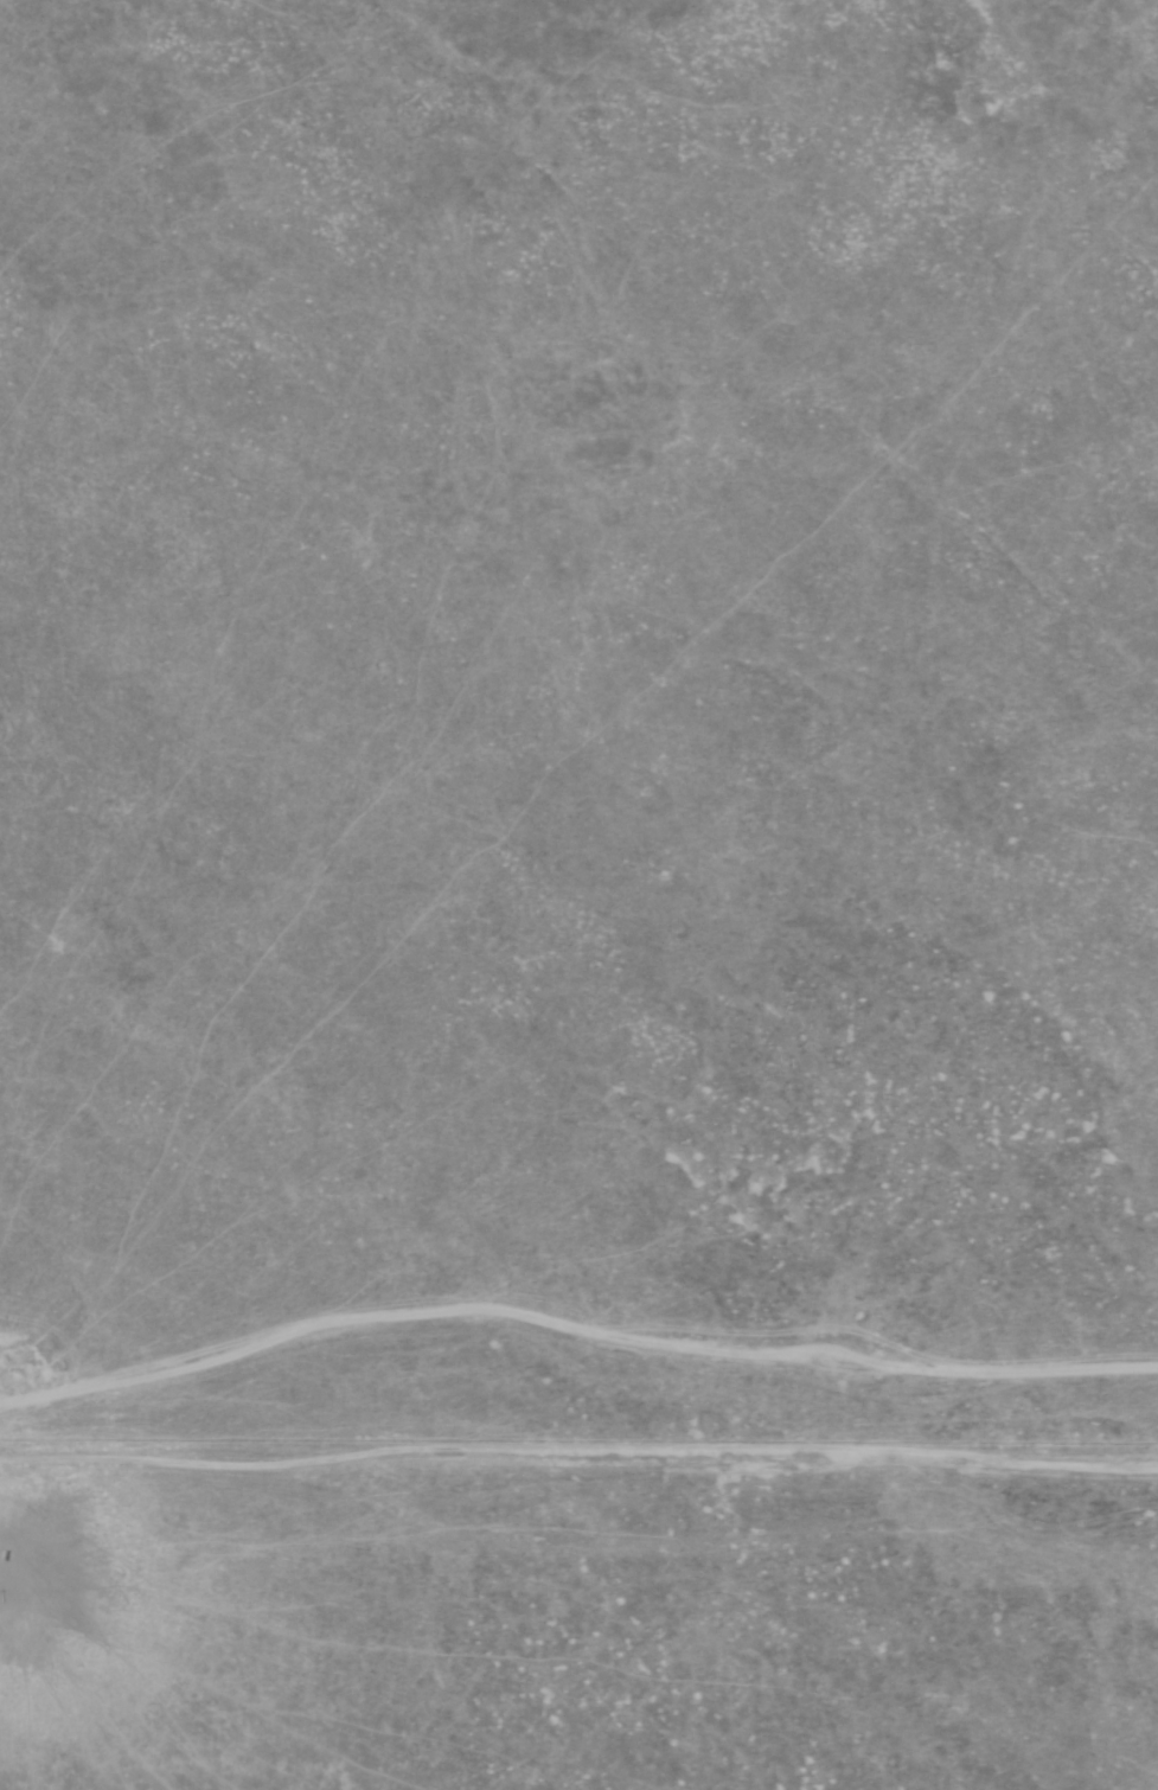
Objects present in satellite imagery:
road: (575, 1334)

